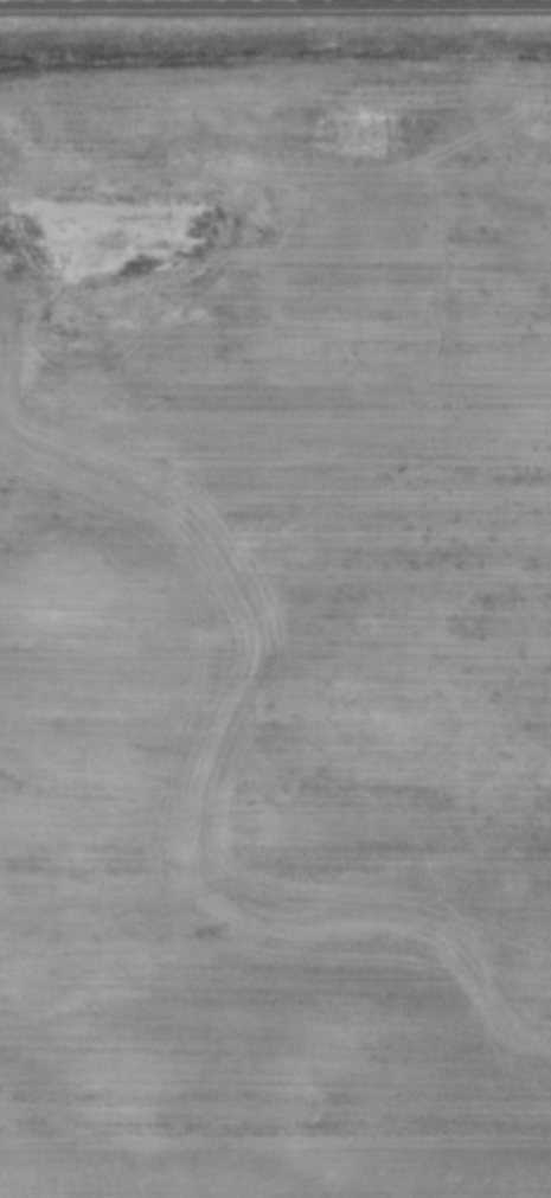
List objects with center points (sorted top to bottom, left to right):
road: (275, 4)

